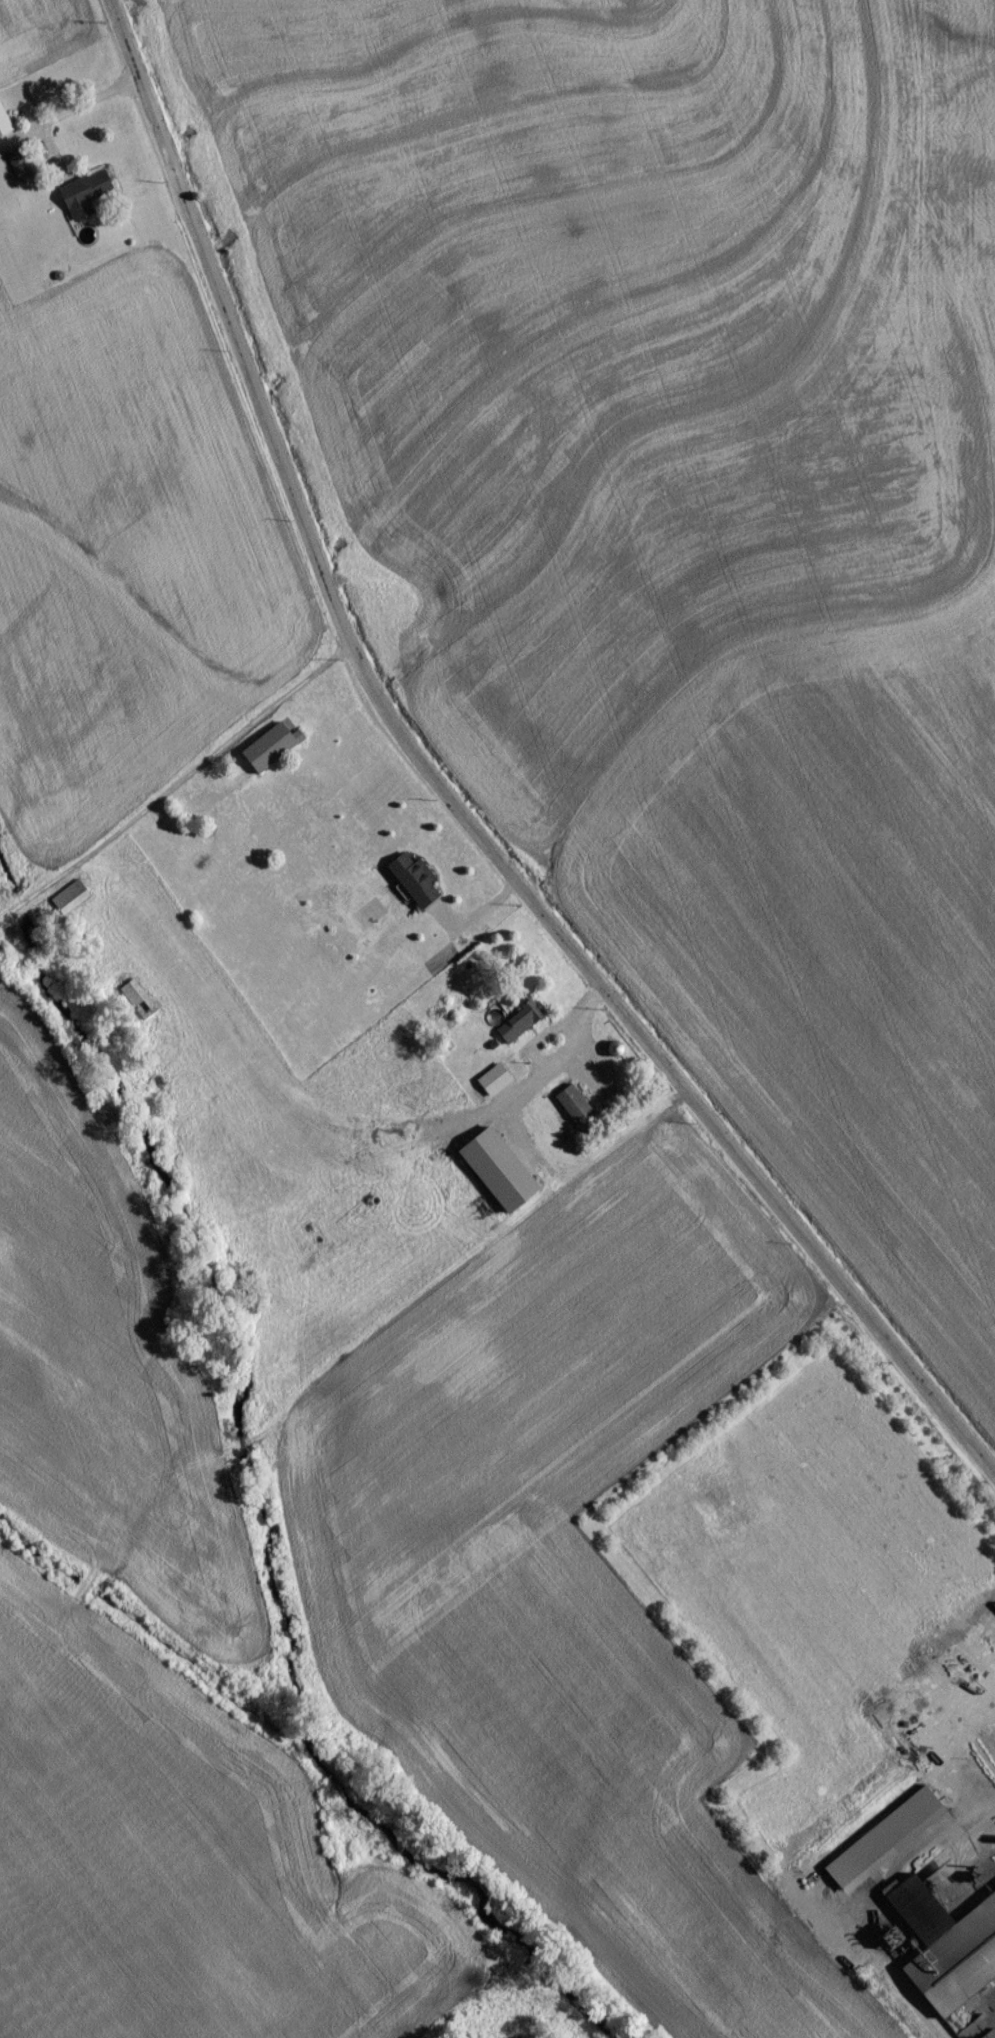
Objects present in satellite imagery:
road: (63, 119)
building: (16, 173)
building: (82, 201)
building: (266, 754)
road: (446, 799)
building: (410, 887)
building: (68, 904)
building: (136, 1006)
building: (520, 1027)
building: (490, 1087)
building: (570, 1110)
building: (492, 1175)
road: (983, 1824)
building: (881, 1845)
road: (993, 2002)

